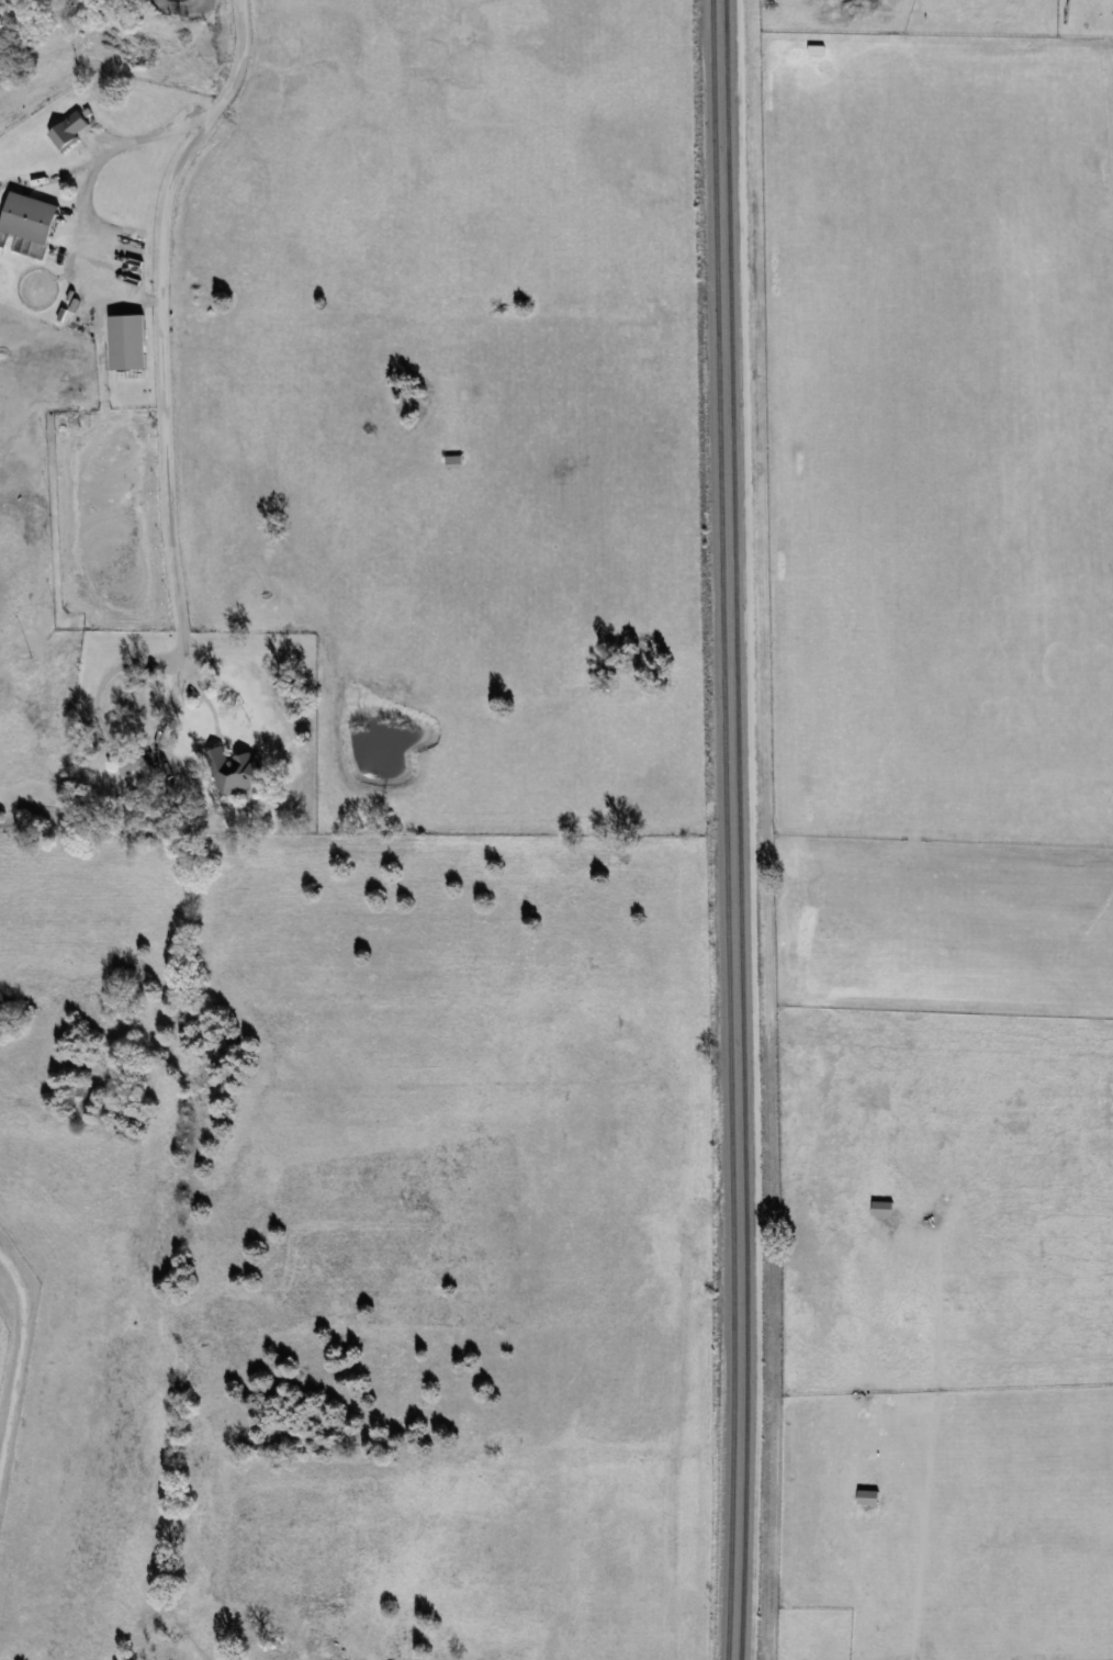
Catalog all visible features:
building: (66, 132)
building: (27, 216)
road: (171, 323)
building: (125, 341)
building: (456, 460)
building: (137, 770)
building: (237, 772)
railway: (737, 830)
building: (882, 1209)
road: (21, 1364)
building: (868, 1498)

